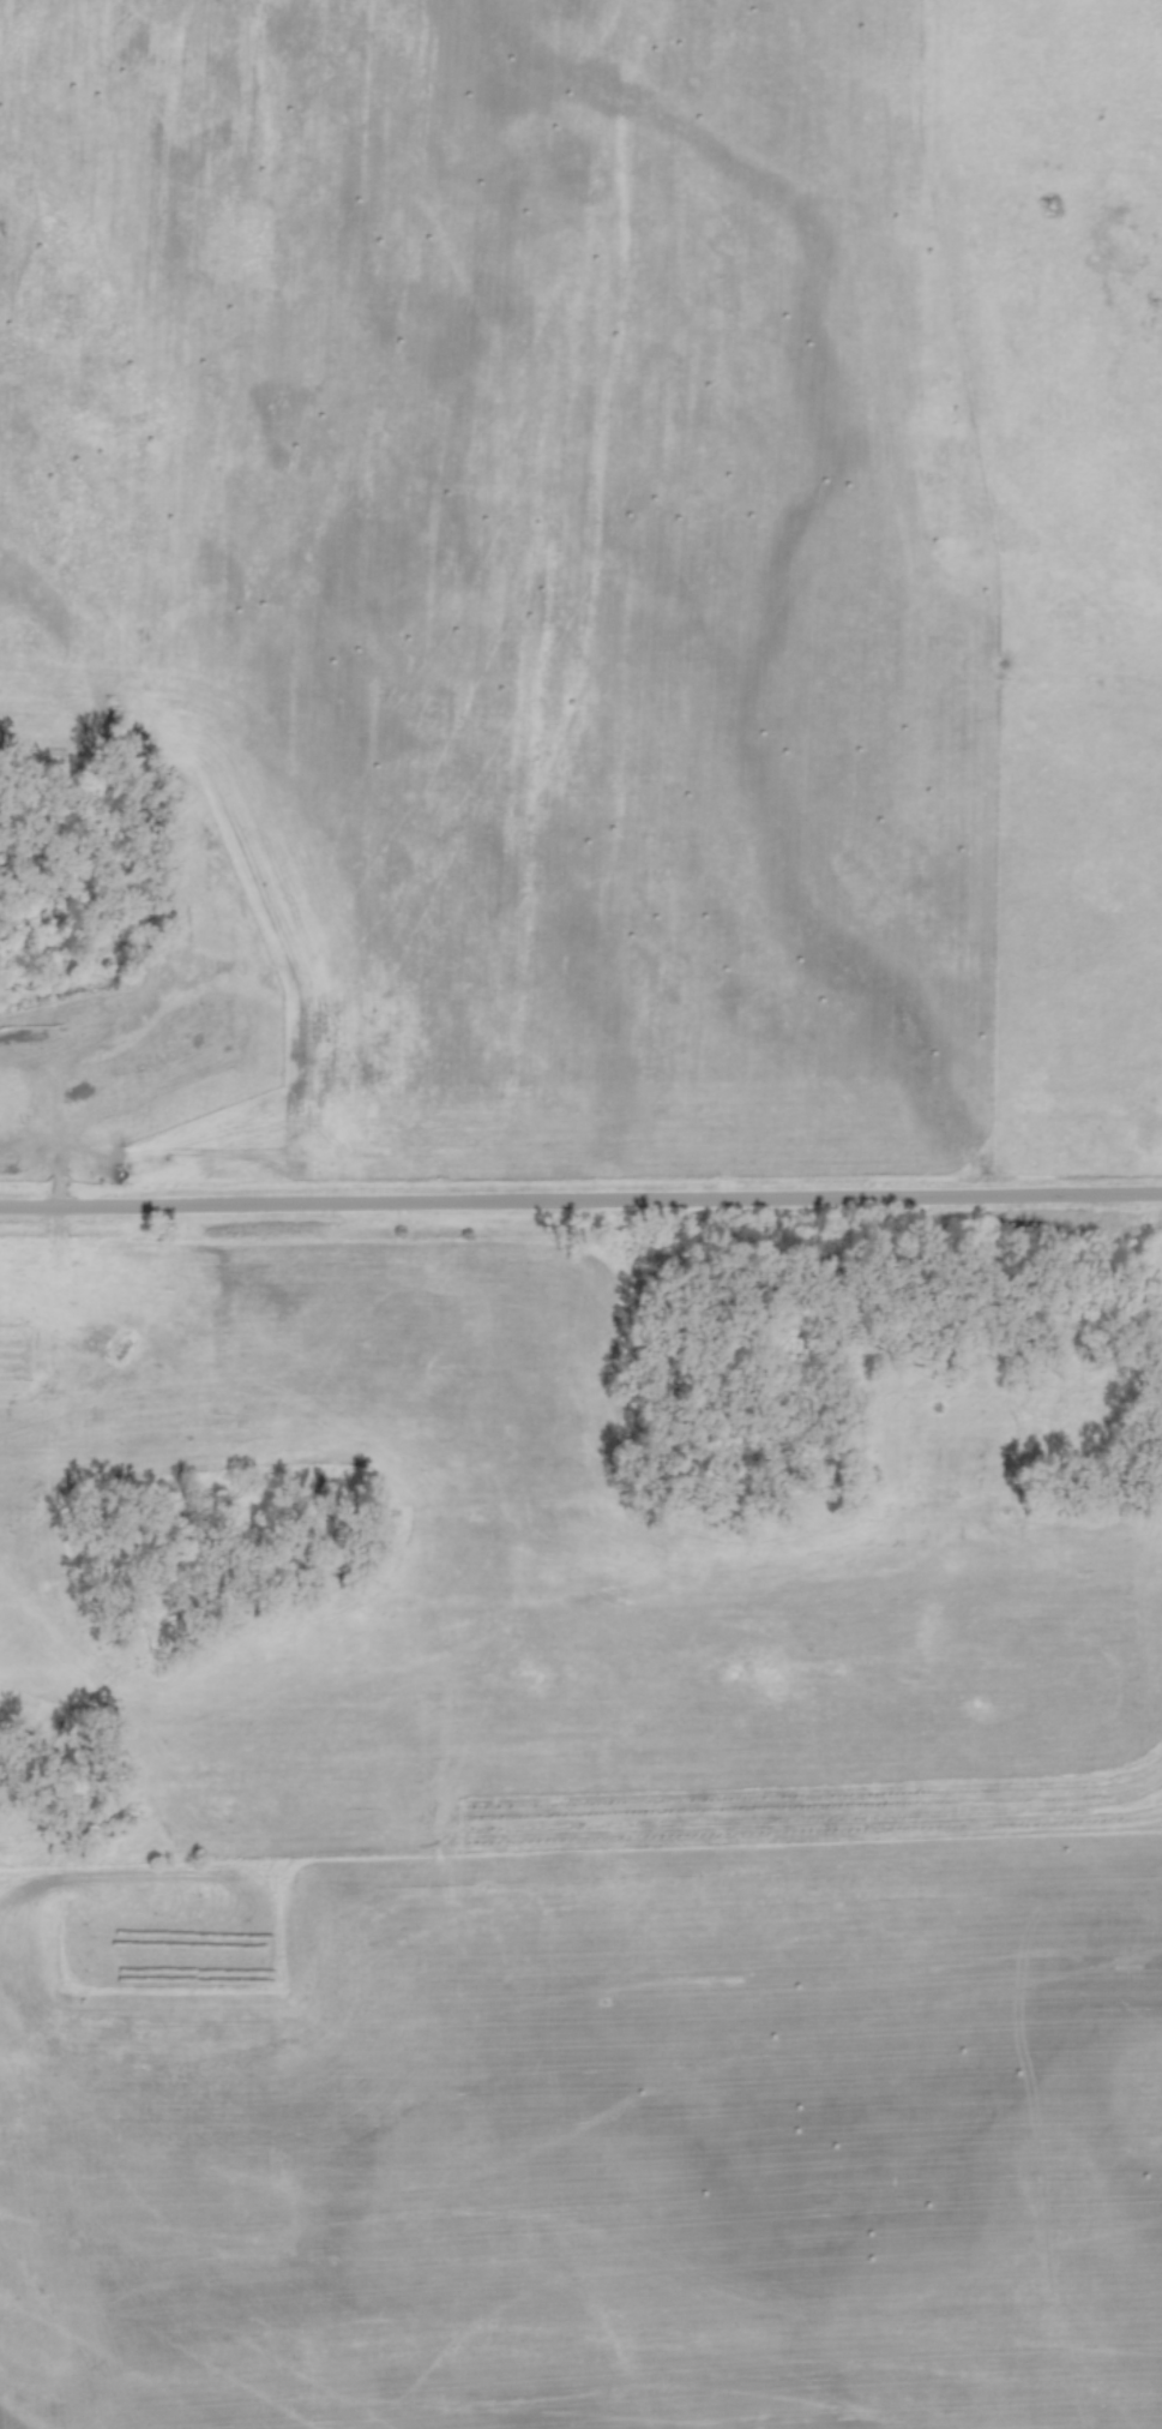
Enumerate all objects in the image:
road: (580, 1207)

